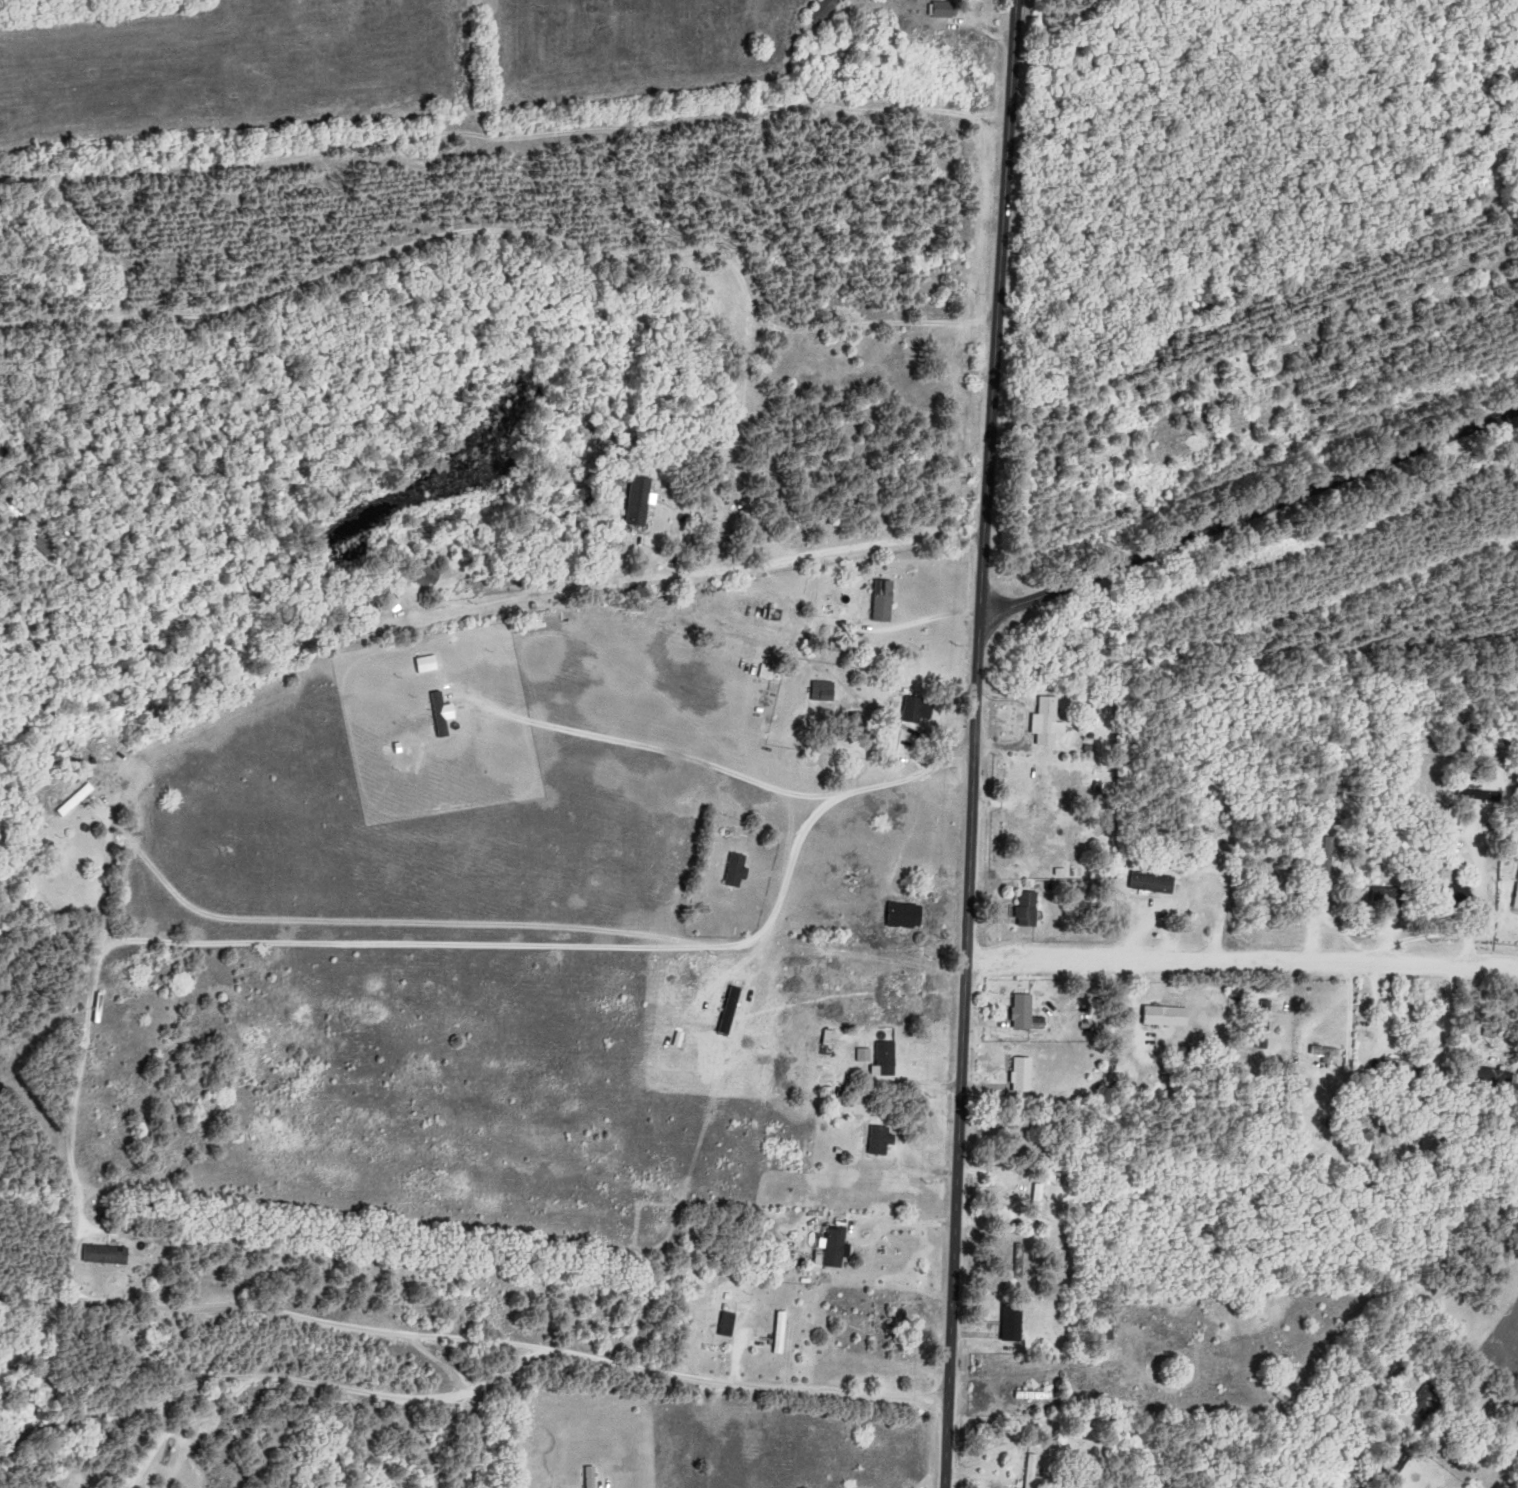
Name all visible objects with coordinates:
building: (947, 9)
building: (825, 11)
building: (641, 502)
road: (1249, 513)
building: (427, 576)
building: (399, 590)
building: (886, 602)
building: (367, 609)
road: (804, 628)
building: (841, 642)
building: (915, 711)
building: (1048, 722)
road: (974, 743)
road: (823, 788)
building: (1483, 796)
building: (77, 800)
building: (1220, 844)
building: (1331, 861)
building: (737, 870)
road: (105, 882)
building: (1154, 883)
road: (1470, 895)
building: (1395, 899)
building: (1516, 903)
building: (1031, 910)
building: (907, 916)
road: (409, 948)
road: (1241, 960)
building: (100, 1008)
building: (1024, 1010)
building: (1268, 1010)
building: (1327, 1052)
building: (1025, 1074)
building: (882, 1141)
road: (698, 1154)
road: (372, 1219)
building: (837, 1246)
building: (108, 1254)
building: (1016, 1323)
building: (885, 1325)
building: (783, 1332)
road: (479, 1342)
road: (635, 1369)
road: (269, 1384)
building: (1034, 1470)
building: (593, 1477)

